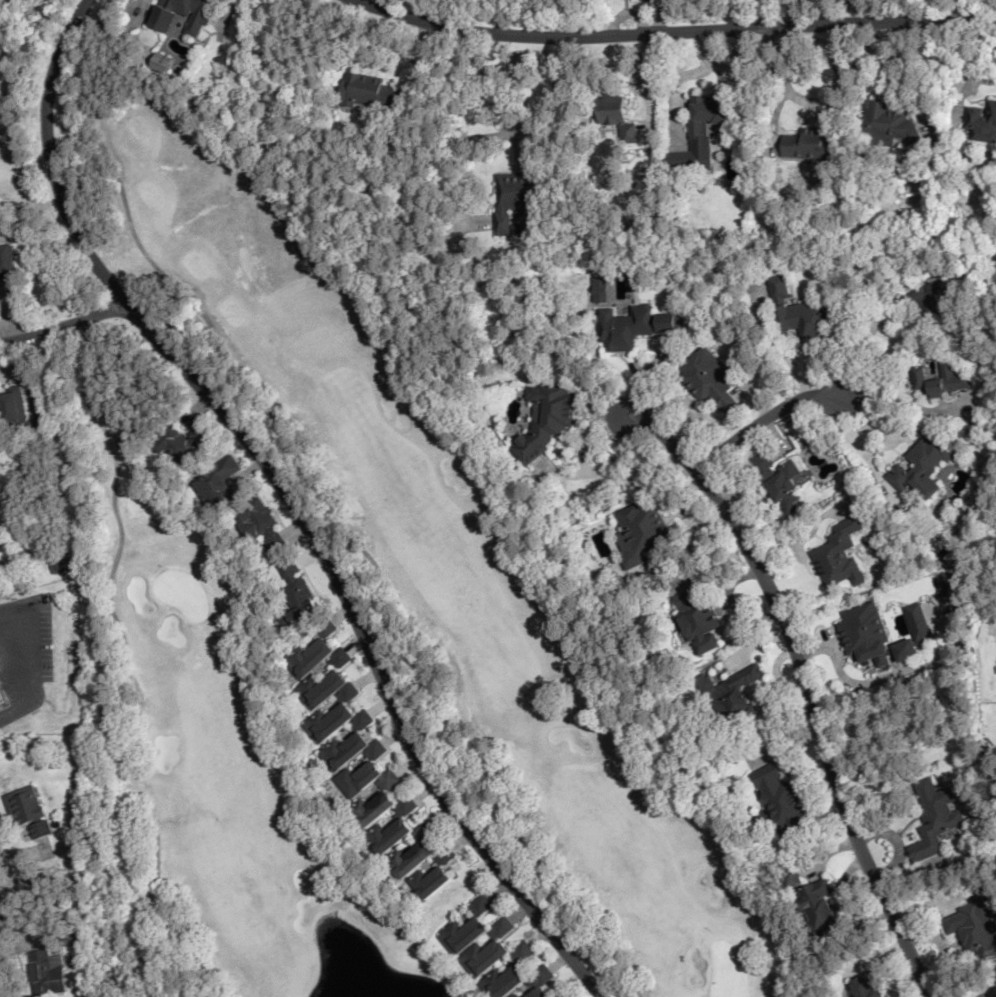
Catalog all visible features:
building: (182, 15)
road: (667, 34)
building: (160, 63)
building: (367, 92)
road: (549, 94)
building: (708, 113)
building: (615, 114)
building: (884, 122)
building: (981, 122)
building: (808, 144)
building: (514, 198)
building: (6, 261)
building: (928, 306)
building: (803, 312)
road: (62, 325)
building: (633, 327)
road: (860, 349)
building: (941, 378)
building: (708, 381)
building: (21, 417)
building: (544, 419)
road: (758, 421)
building: (182, 442)
building: (920, 466)
building: (778, 480)
building: (217, 483)
road: (292, 500)
building: (263, 524)
building: (640, 531)
building: (838, 554)
building: (295, 594)
building: (698, 620)
building: (74, 627)
building: (311, 651)
building: (340, 658)
building: (4, 669)
road: (806, 688)
building: (731, 692)
building: (341, 705)
building: (360, 775)
building: (775, 785)
building: (405, 805)
building: (25, 810)
building: (934, 818)
building: (425, 829)
building: (388, 835)
building: (408, 858)
building: (429, 881)
building: (814, 902)
building: (466, 927)
building: (974, 928)
building: (487, 950)
building: (45, 972)
building: (507, 974)
building: (542, 975)
building: (866, 985)
building: (992, 991)
building: (536, 992)
building: (515, 995)

